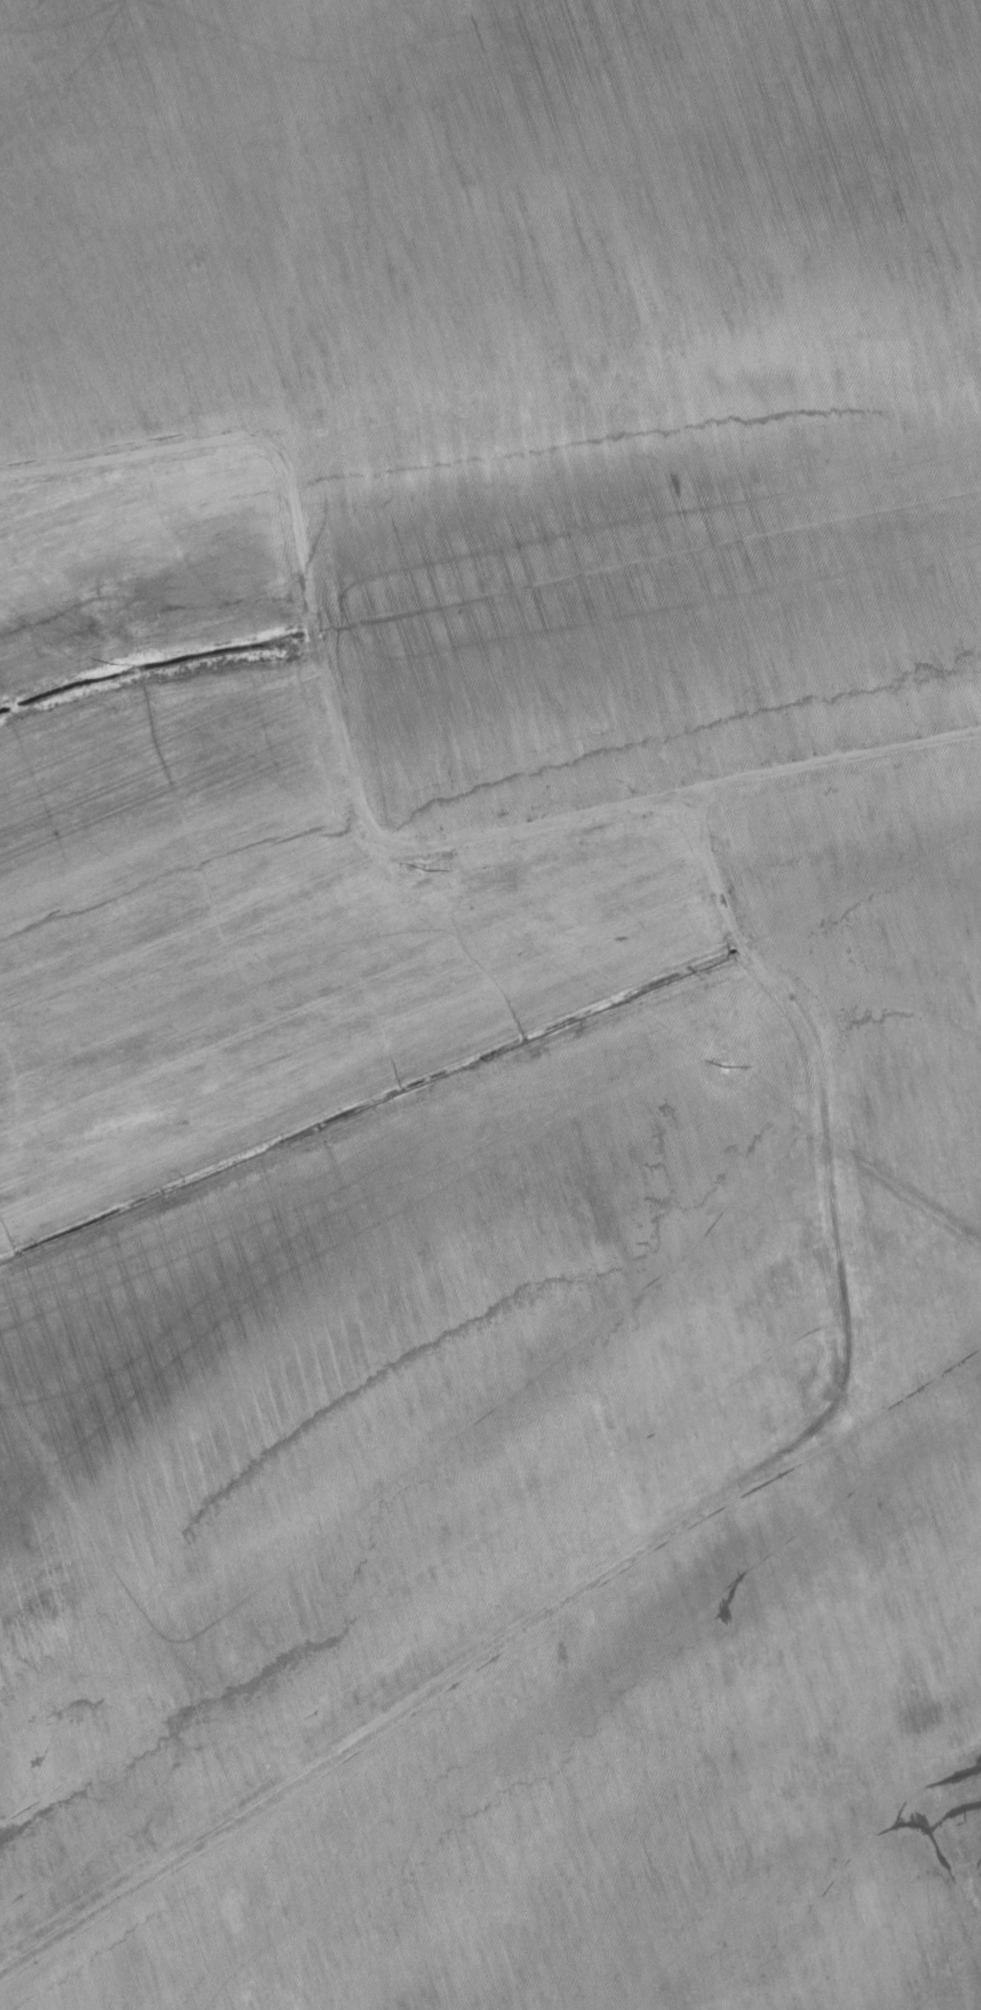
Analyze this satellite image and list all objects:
road: (351, 811)
road: (369, 1103)
road: (693, 1509)

